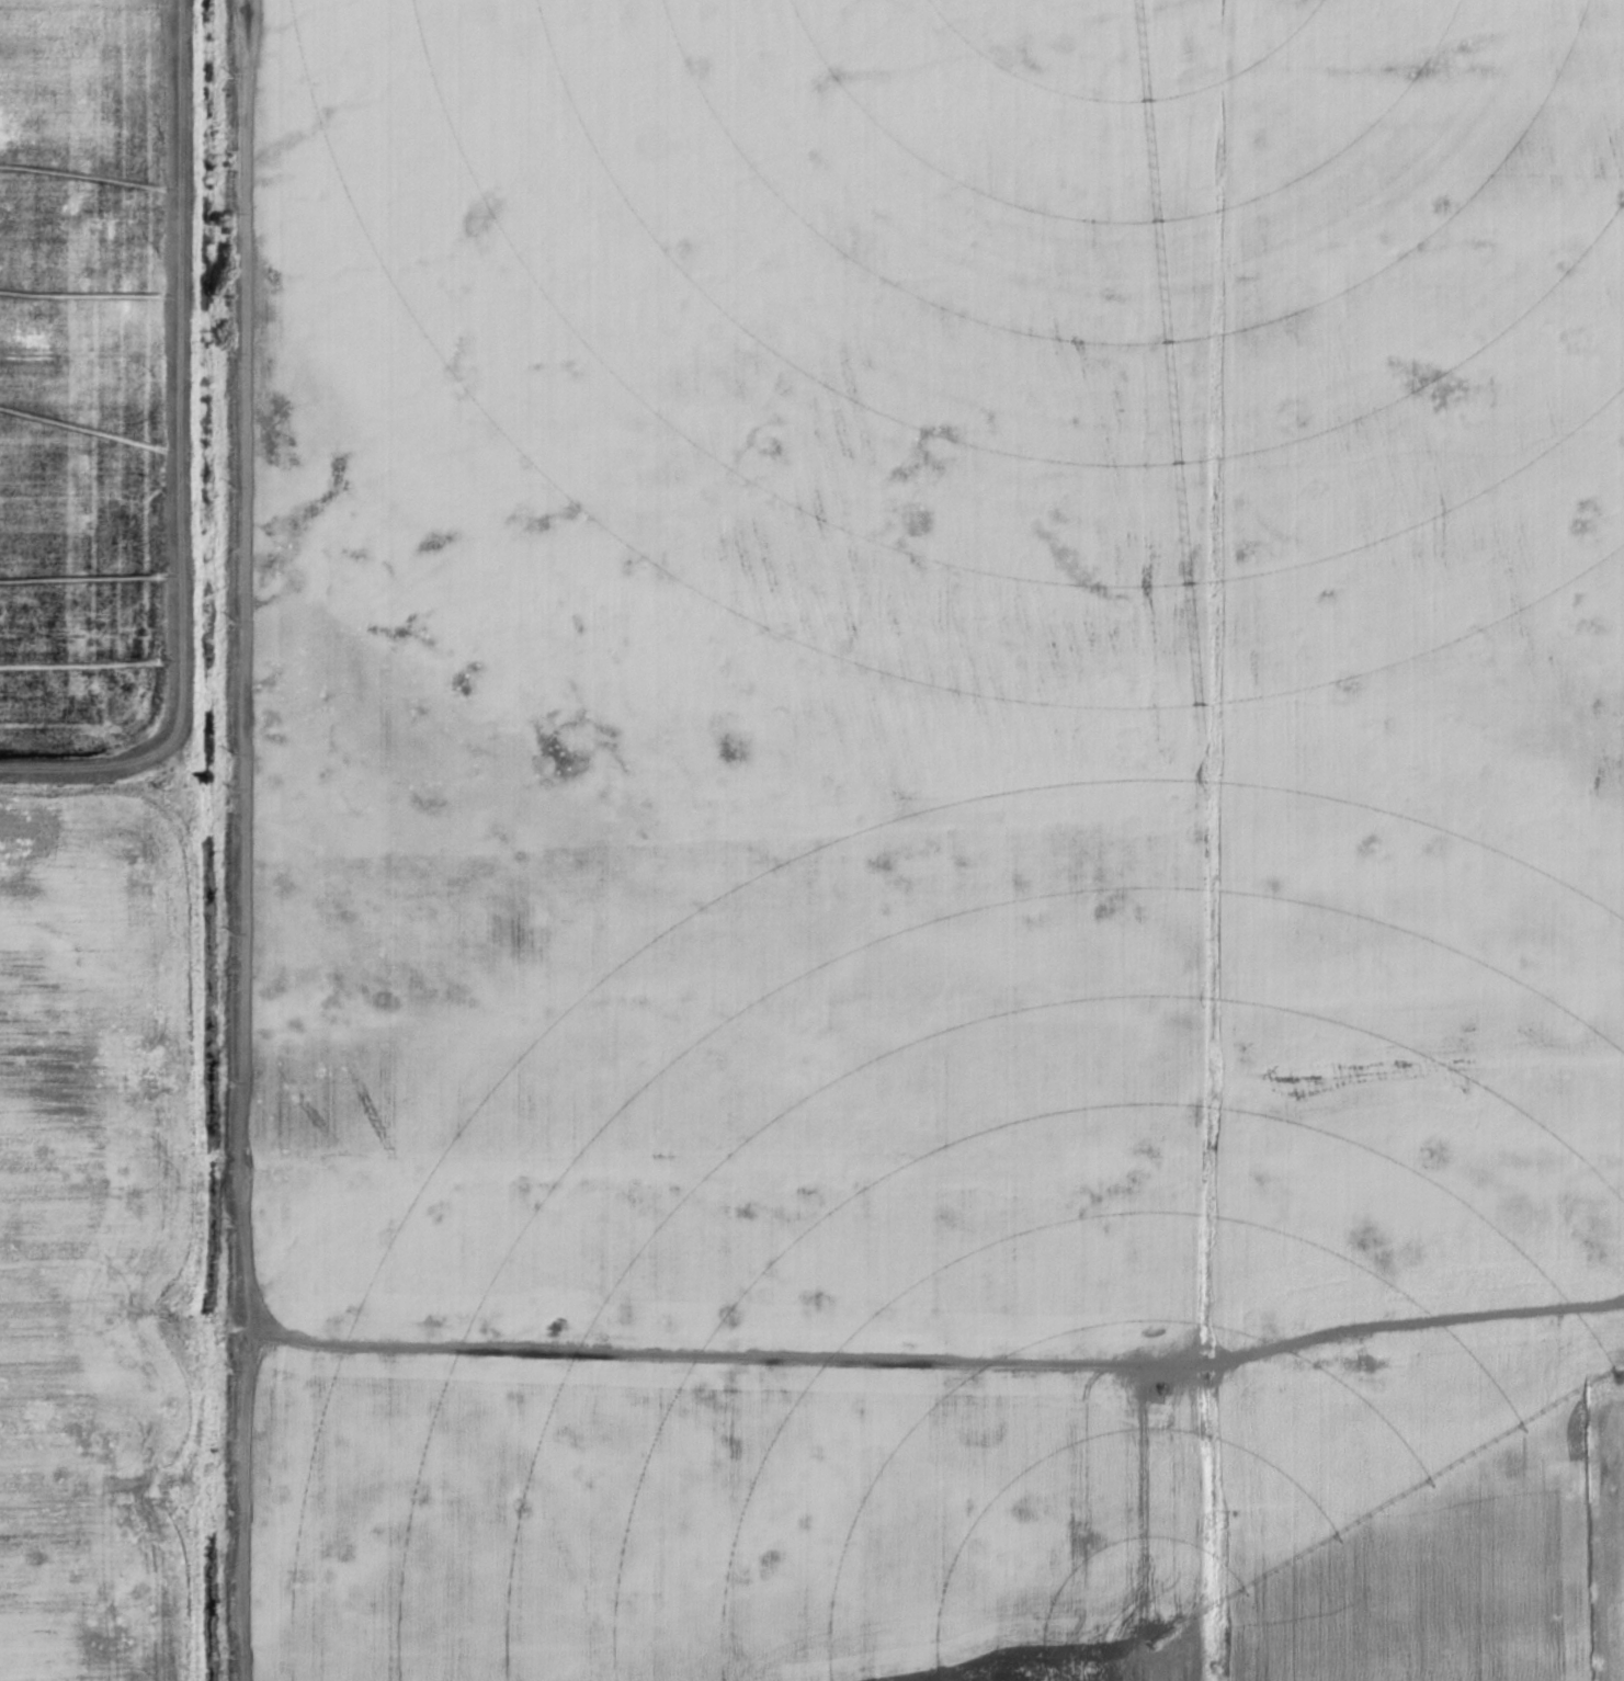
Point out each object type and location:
airport: (1604, 1526)

